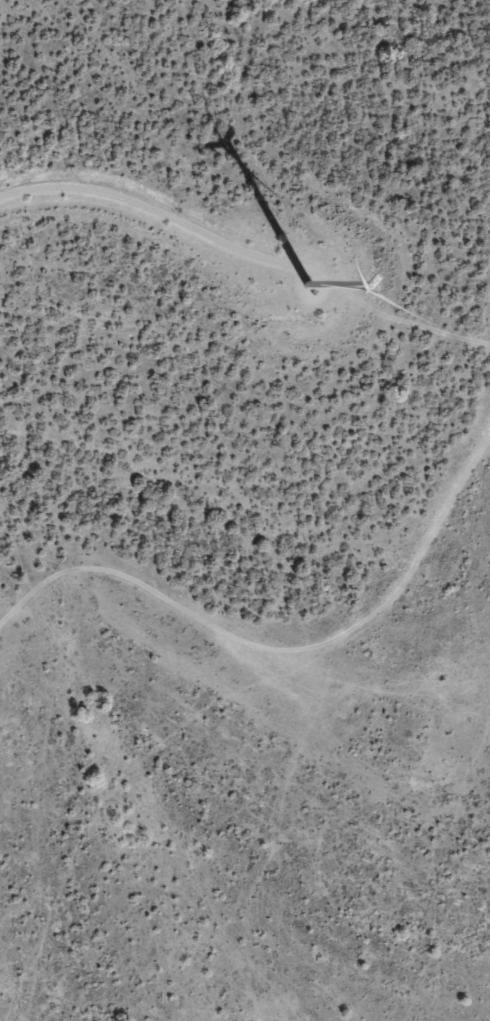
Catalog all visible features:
wind turbine: (301, 287)
road: (151, 576)

